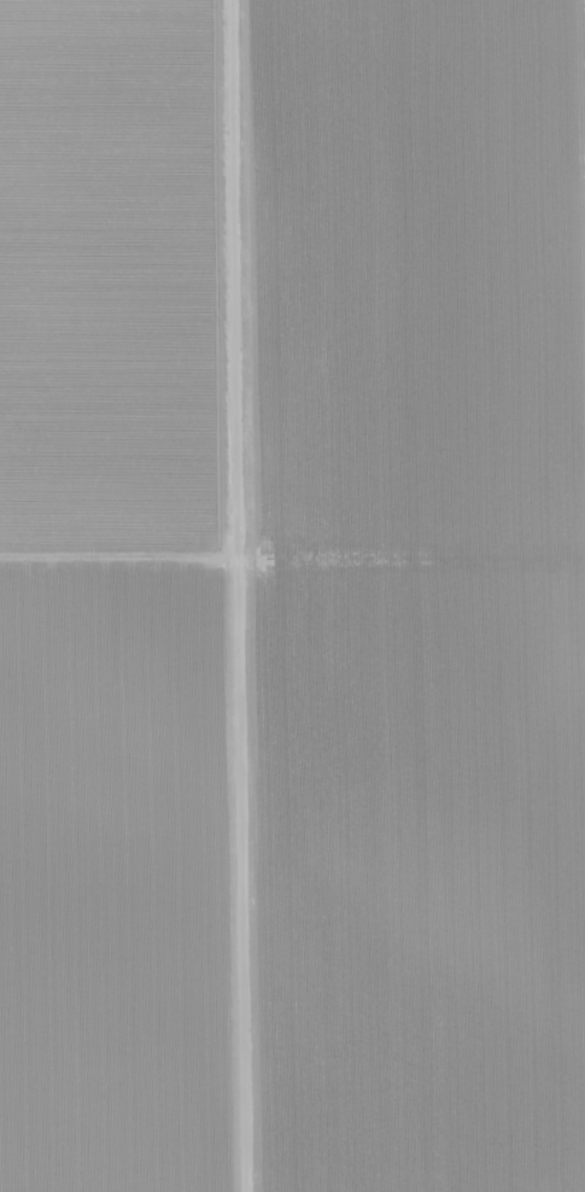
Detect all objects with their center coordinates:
road: (245, 596)

